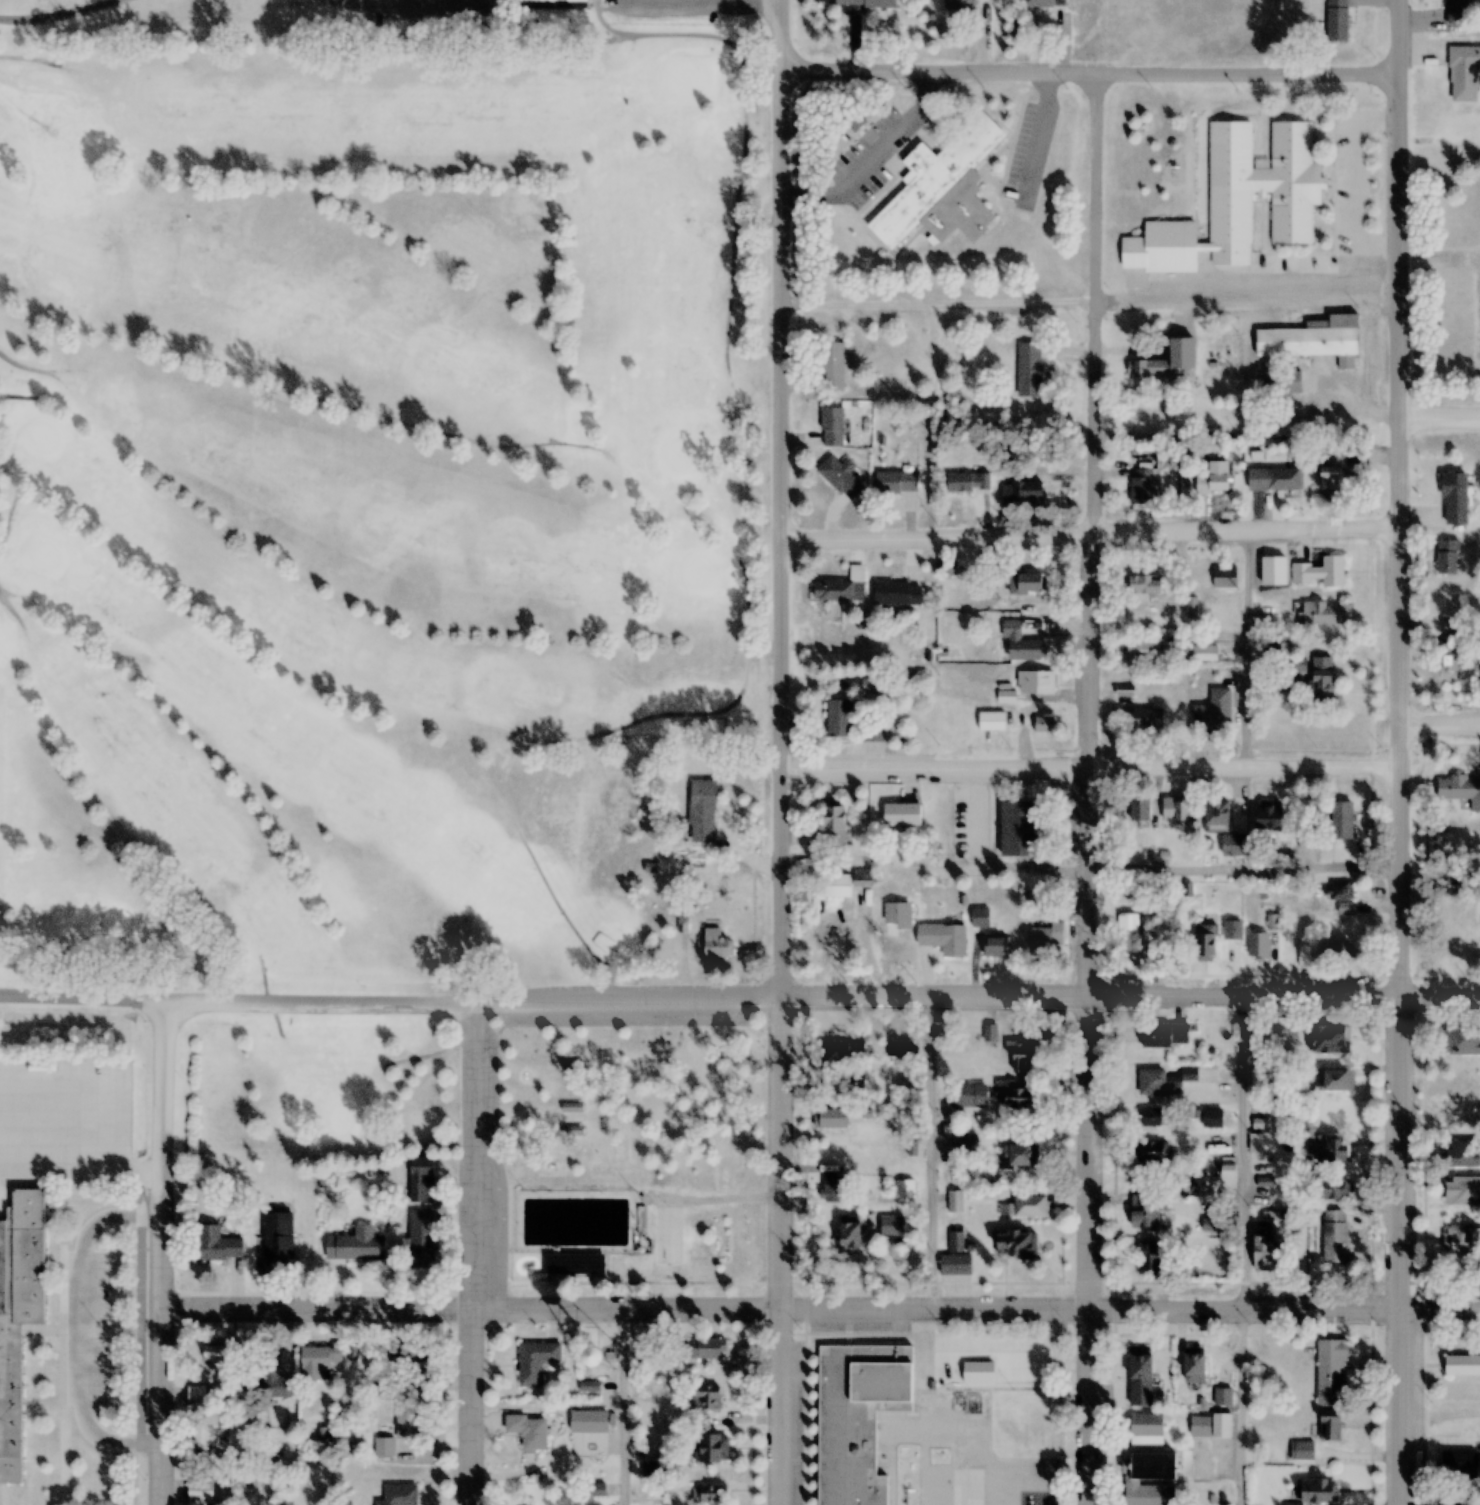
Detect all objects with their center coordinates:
road: (342, 2)
road: (352, 2)
building: (556, 2)
building: (865, 3)
building: (1044, 3)
building: (960, 4)
road: (684, 11)
road: (49, 12)
building: (1457, 12)
road: (433, 15)
building: (1337, 20)
road: (29, 55)
road: (1087, 70)
building: (1463, 73)
building: (854, 120)
building: (942, 189)
building: (1239, 201)
road: (1086, 298)
building: (1312, 339)
building: (1166, 360)
road: (18, 363)
building: (832, 366)
building: (1033, 368)
road: (163, 375)
building: (1284, 381)
road: (1439, 409)
road: (741, 411)
building: (1140, 417)
building: (832, 427)
building: (840, 477)
building: (1330, 477)
building: (1213, 479)
building: (1273, 479)
building: (896, 482)
building: (968, 482)
building: (1141, 487)
building: (1021, 492)
road: (12, 493)
park: (376, 495)
building: (1455, 499)
road: (1085, 535)
building: (1447, 556)
building: (1320, 572)
building: (1225, 577)
building: (1026, 582)
building: (1143, 585)
building: (842, 587)
building: (897, 593)
building: (1191, 607)
building: (1318, 614)
road: (33, 618)
building: (1456, 627)
road: (26, 637)
building: (1020, 644)
building: (1143, 650)
building: (1204, 653)
building: (1448, 657)
building: (1035, 682)
building: (1282, 683)
building: (1322, 686)
building: (1125, 691)
road: (676, 711)
building: (1213, 713)
building: (839, 719)
building: (1147, 720)
building: (991, 722)
road: (1436, 724)
building: (1044, 725)
building: (873, 732)
road: (772, 752)
road: (1392, 752)
road: (1081, 758)
road: (1095, 788)
building: (1460, 791)
building: (699, 807)
building: (1138, 809)
building: (1175, 809)
building: (1217, 813)
building: (902, 814)
building: (1268, 815)
building: (1342, 820)
building: (834, 825)
building: (1021, 829)
building: (1234, 845)
road: (526, 849)
building: (647, 864)
building: (846, 883)
building: (1342, 897)
building: (980, 917)
building: (1232, 931)
building: (944, 938)
building: (1130, 939)
building: (1047, 940)
building: (1205, 940)
building: (711, 941)
building: (832, 945)
building: (895, 945)
building: (995, 946)
building: (1258, 946)
building: (1337, 954)
building: (1456, 956)
road: (260, 971)
road: (696, 1010)
road: (1436, 1010)
road: (276, 1022)
building: (1163, 1036)
building: (1330, 1039)
building: (1462, 1042)
road: (434, 1050)
building: (841, 1052)
building: (1020, 1055)
road: (407, 1060)
building: (30, 1079)
building: (1335, 1080)
building: (1163, 1081)
building: (968, 1095)
building: (1020, 1098)
building: (572, 1108)
building: (1149, 1117)
building: (830, 1119)
building: (1212, 1119)
building: (1261, 1142)
building: (966, 1148)
building: (1328, 1151)
building: (1153, 1152)
building: (1463, 1152)
building: (1020, 1155)
park: (633, 1162)
building: (422, 1179)
building: (830, 1188)
building: (1333, 1188)
building: (903, 1189)
building: (1461, 1190)
building: (955, 1201)
building: (1024, 1207)
building: (1148, 1210)
building: (1212, 1224)
building: (855, 1230)
building: (276, 1232)
building: (420, 1235)
building: (1334, 1236)
building: (358, 1238)
building: (1461, 1239)
building: (956, 1241)
building: (217, 1244)
building: (1016, 1244)
building: (1264, 1253)
building: (1150, 1257)
road: (160, 1258)
road: (491, 1258)
building: (574, 1263)
road: (1437, 1309)
road: (776, 1313)
building: (18, 1315)
building: (707, 1348)
building: (400, 1356)
building: (218, 1357)
water tower: (601, 1357)
building: (536, 1361)
building: (315, 1362)
building: (1462, 1366)
building: (1195, 1368)
building: (1330, 1373)
building: (275, 1380)
building: (1140, 1380)
building: (196, 1395)
building: (704, 1397)
building: (1223, 1397)
building: (407, 1418)
building: (857, 1418)
building: (1334, 1424)
building: (1200, 1428)
building: (1144, 1430)
building: (206, 1431)
building: (529, 1432)
building: (713, 1449)
building: (1302, 1451)
building: (1458, 1464)
building: (654, 1466)
building: (1149, 1479)
building: (1318, 1491)
building: (707, 1493)
building: (400, 1495)

